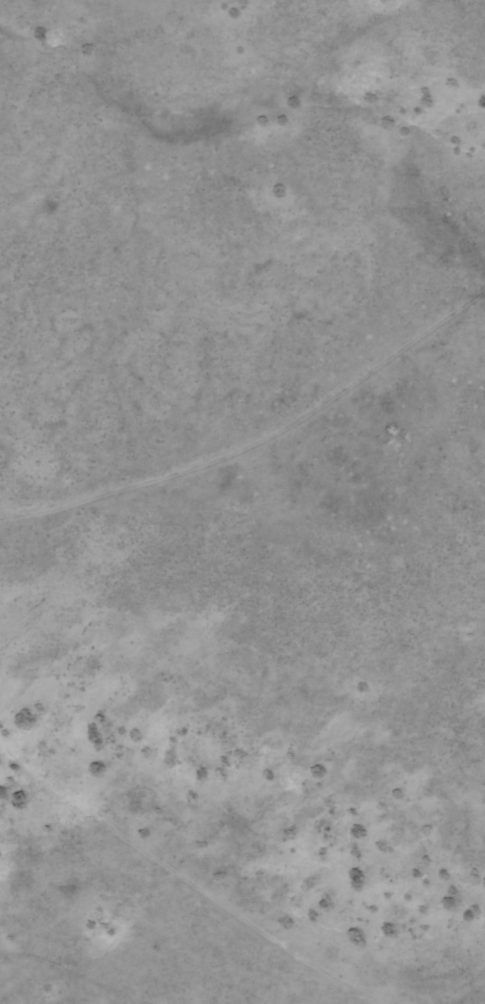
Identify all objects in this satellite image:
road: (213, 856)

